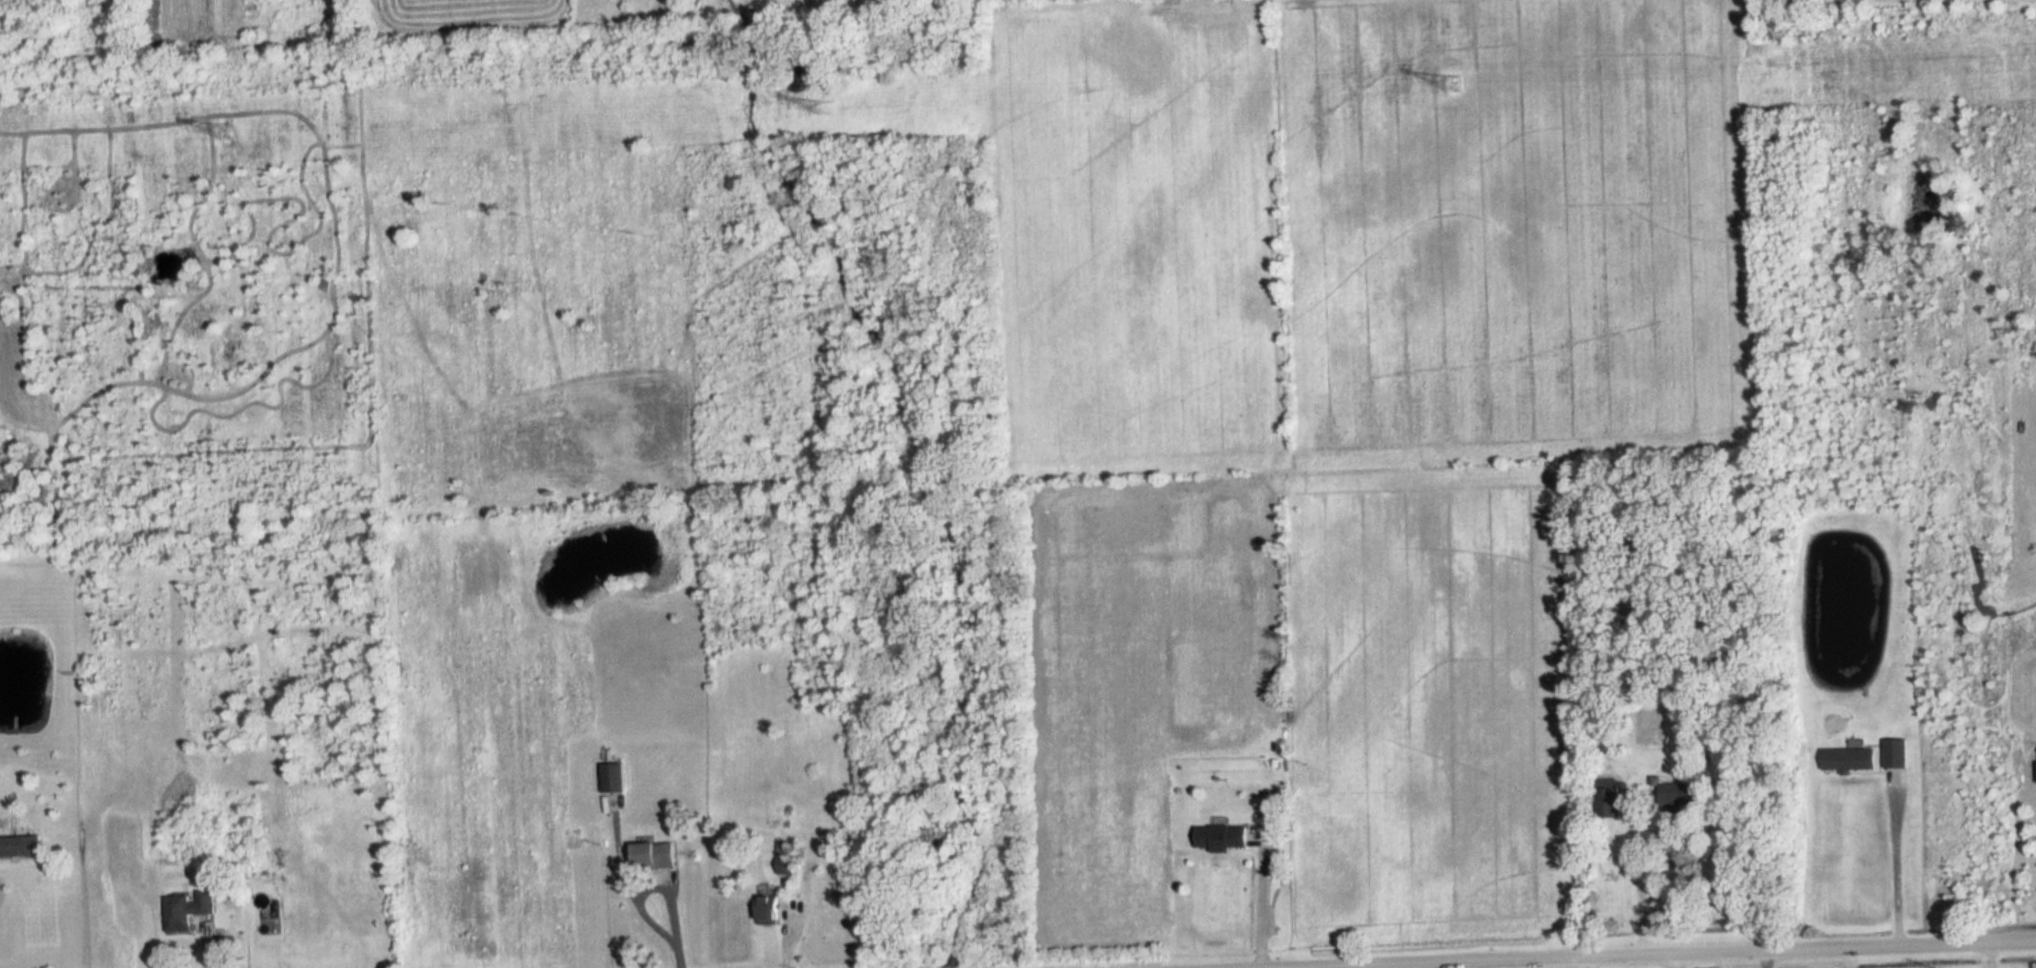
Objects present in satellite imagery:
power tower: (1453, 82)
power tower: (822, 112)
power tower: (224, 132)
building: (1895, 754)
building: (1849, 760)
building: (612, 778)
building: (1678, 797)
building: (1607, 802)
building: (1221, 838)
building: (20, 846)
building: (654, 856)
building: (785, 858)
road: (1897, 861)
road: (1639, 881)
road: (1256, 900)
building: (190, 906)
road: (676, 917)
road: (1696, 956)
road: (1986, 957)
road: (1764, 961)
road: (1670, 962)
road: (1485, 965)

